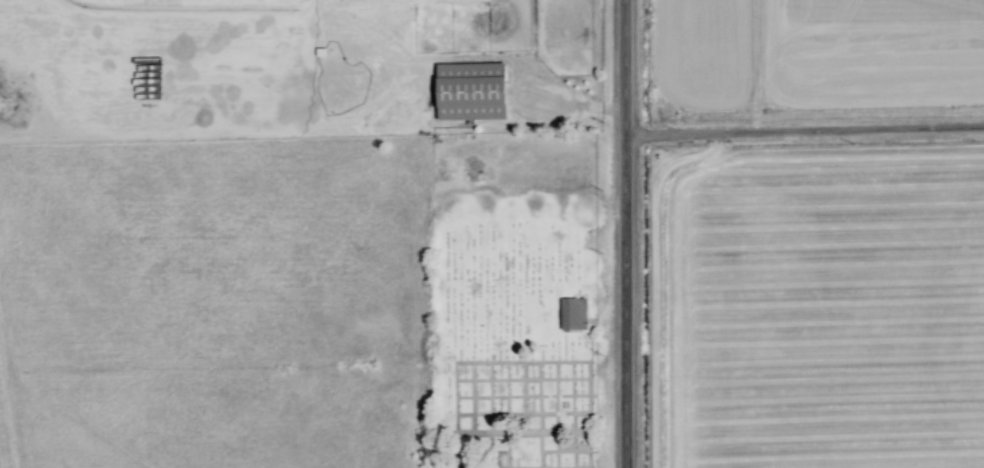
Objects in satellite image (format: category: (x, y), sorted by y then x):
building: (471, 92)
road: (805, 127)
road: (627, 233)
park: (514, 300)
building: (572, 313)

